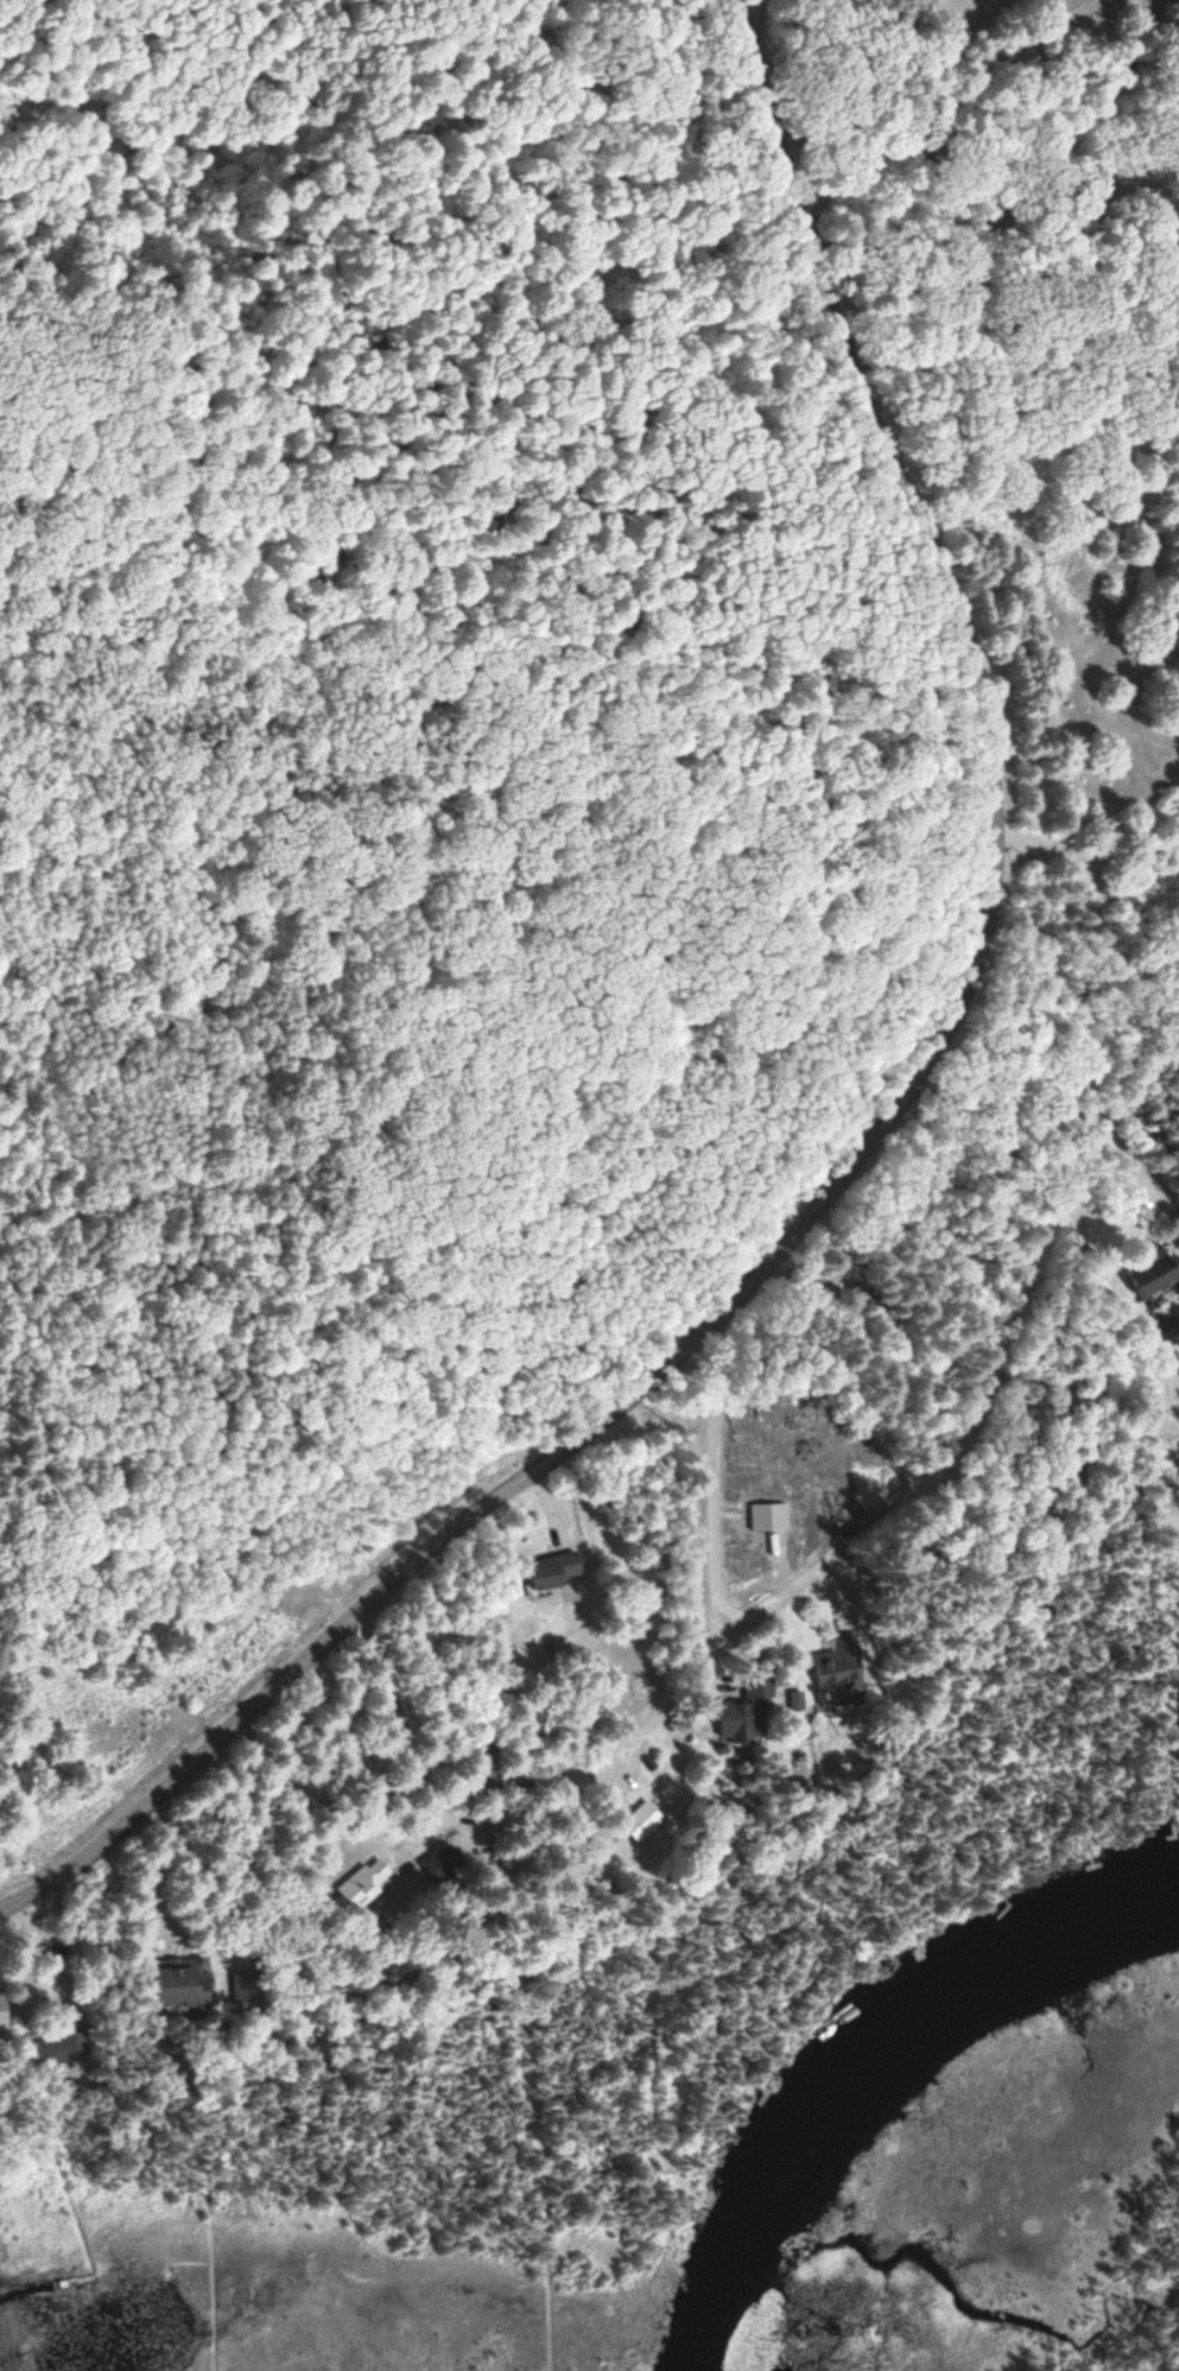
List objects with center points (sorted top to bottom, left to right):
road: (752, 8)
road: (1054, 31)
road: (890, 75)
road: (993, 80)
road: (1118, 91)
road: (1000, 278)
road: (1140, 1009)
road: (880, 1117)
building: (1155, 1268)
road: (1178, 1463)
building: (771, 1516)
road: (715, 1552)
building: (562, 1568)
road: (1175, 1609)
building: (838, 1662)
road: (676, 1698)
building: (744, 1713)
road: (1171, 1727)
building: (640, 1820)
road: (242, 1840)
building: (443, 1864)
building: (360, 1888)
road: (28, 1966)
building: (179, 1983)
building: (59, 2048)
river: (874, 2066)

